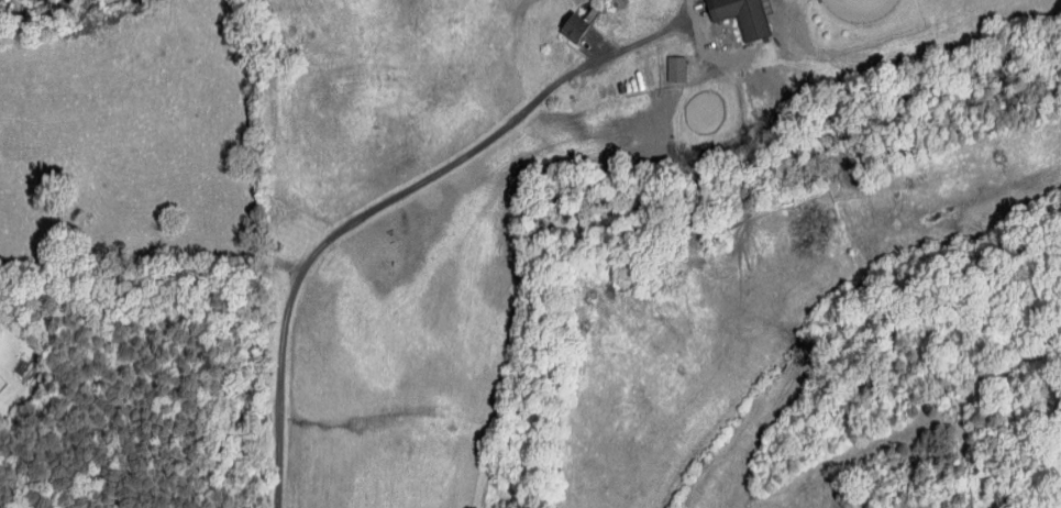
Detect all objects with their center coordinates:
building: (739, 15)
building: (573, 24)
building: (674, 68)
road: (477, 145)
road: (275, 400)

